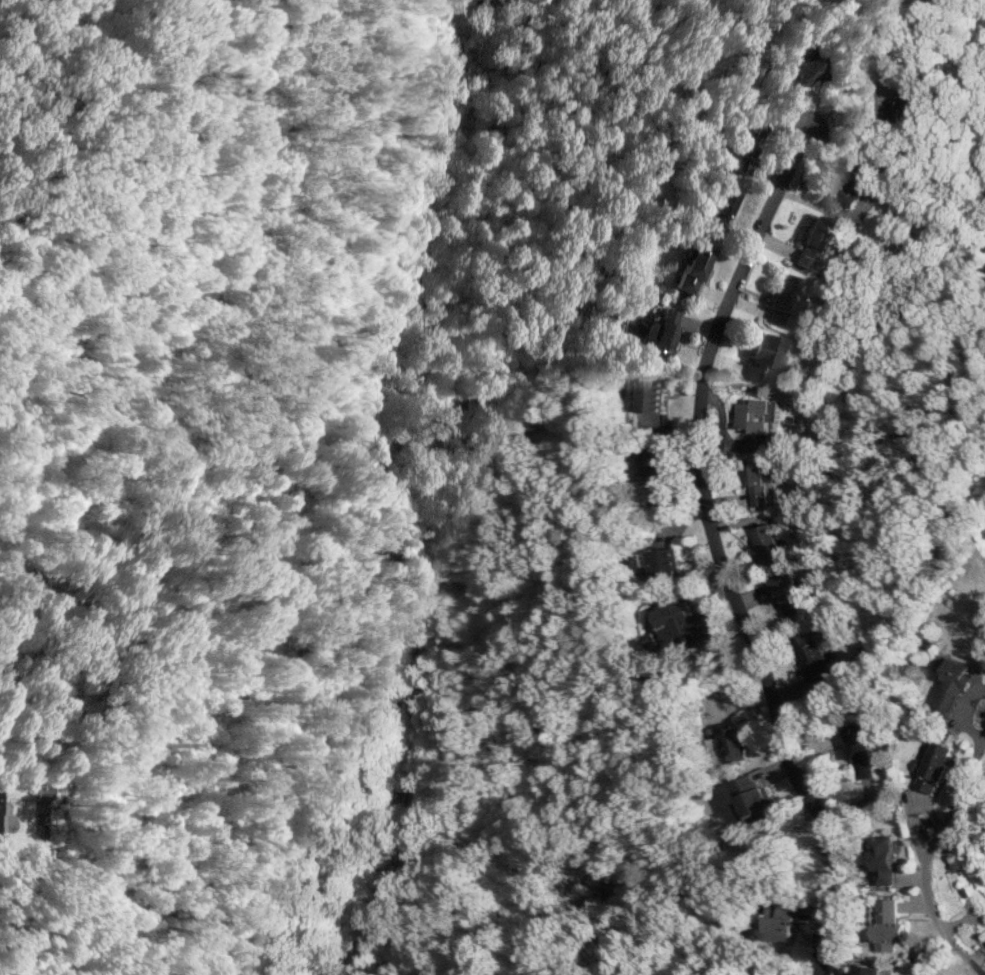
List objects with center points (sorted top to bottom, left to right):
building: (802, 68)
building: (896, 106)
building: (744, 136)
building: (719, 208)
building: (812, 242)
building: (690, 266)
building: (782, 298)
building: (662, 330)
building: (760, 357)
building: (649, 396)
building: (753, 413)
building: (655, 468)
building: (755, 482)
building: (767, 543)
road: (724, 554)
building: (662, 561)
building: (786, 592)
building: (682, 623)
building: (812, 660)
building: (950, 684)
building: (859, 750)
building: (931, 765)
building: (42, 791)
building: (754, 799)
building: (2, 811)
road: (925, 856)
building: (882, 860)
building: (782, 920)
building: (885, 925)
building: (867, 969)
building: (774, 971)

